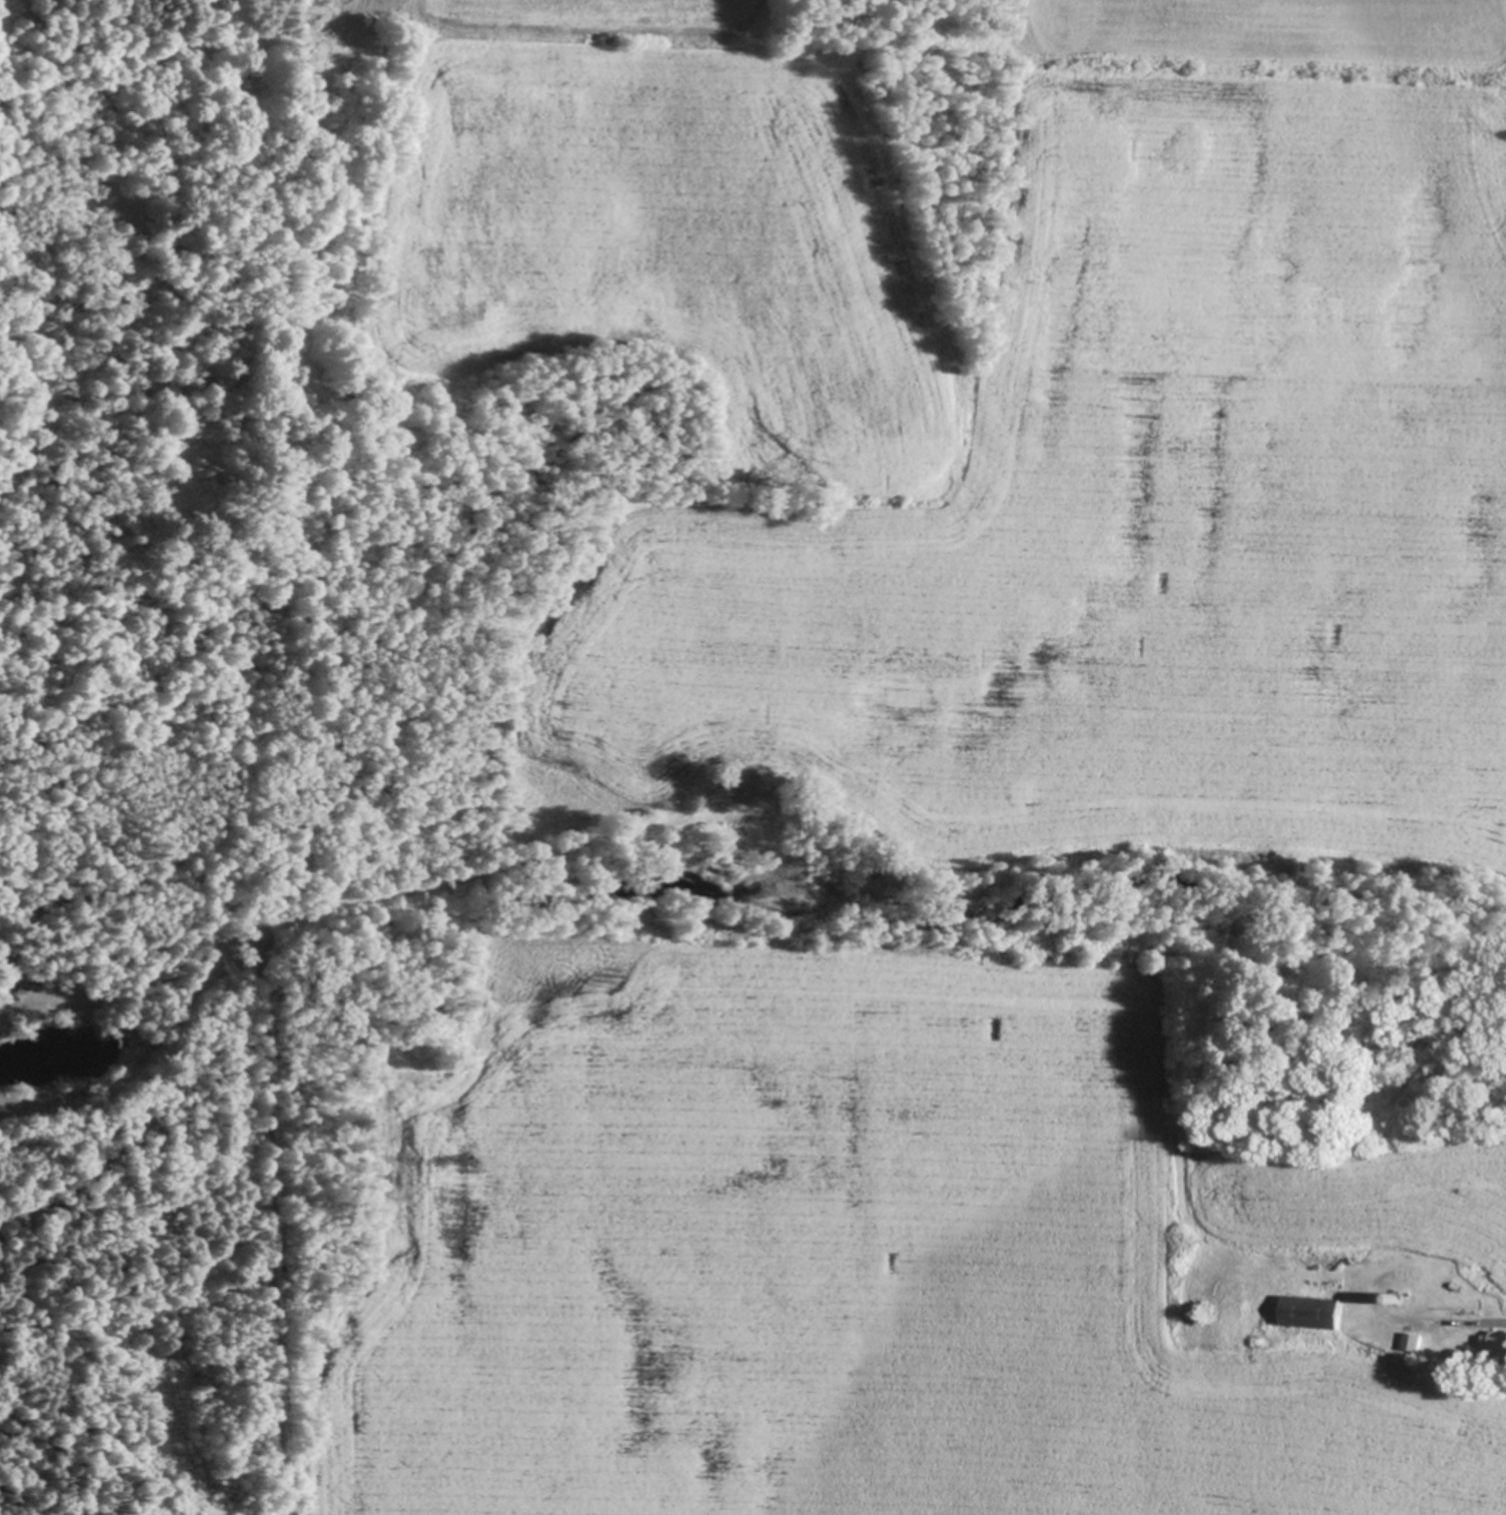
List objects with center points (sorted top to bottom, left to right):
building: (25, 983)
building: (1396, 1090)
road: (262, 1236)
building: (1402, 1299)
building: (1316, 1311)
building: (1499, 1339)
building: (1418, 1340)
building: (1488, 1369)

